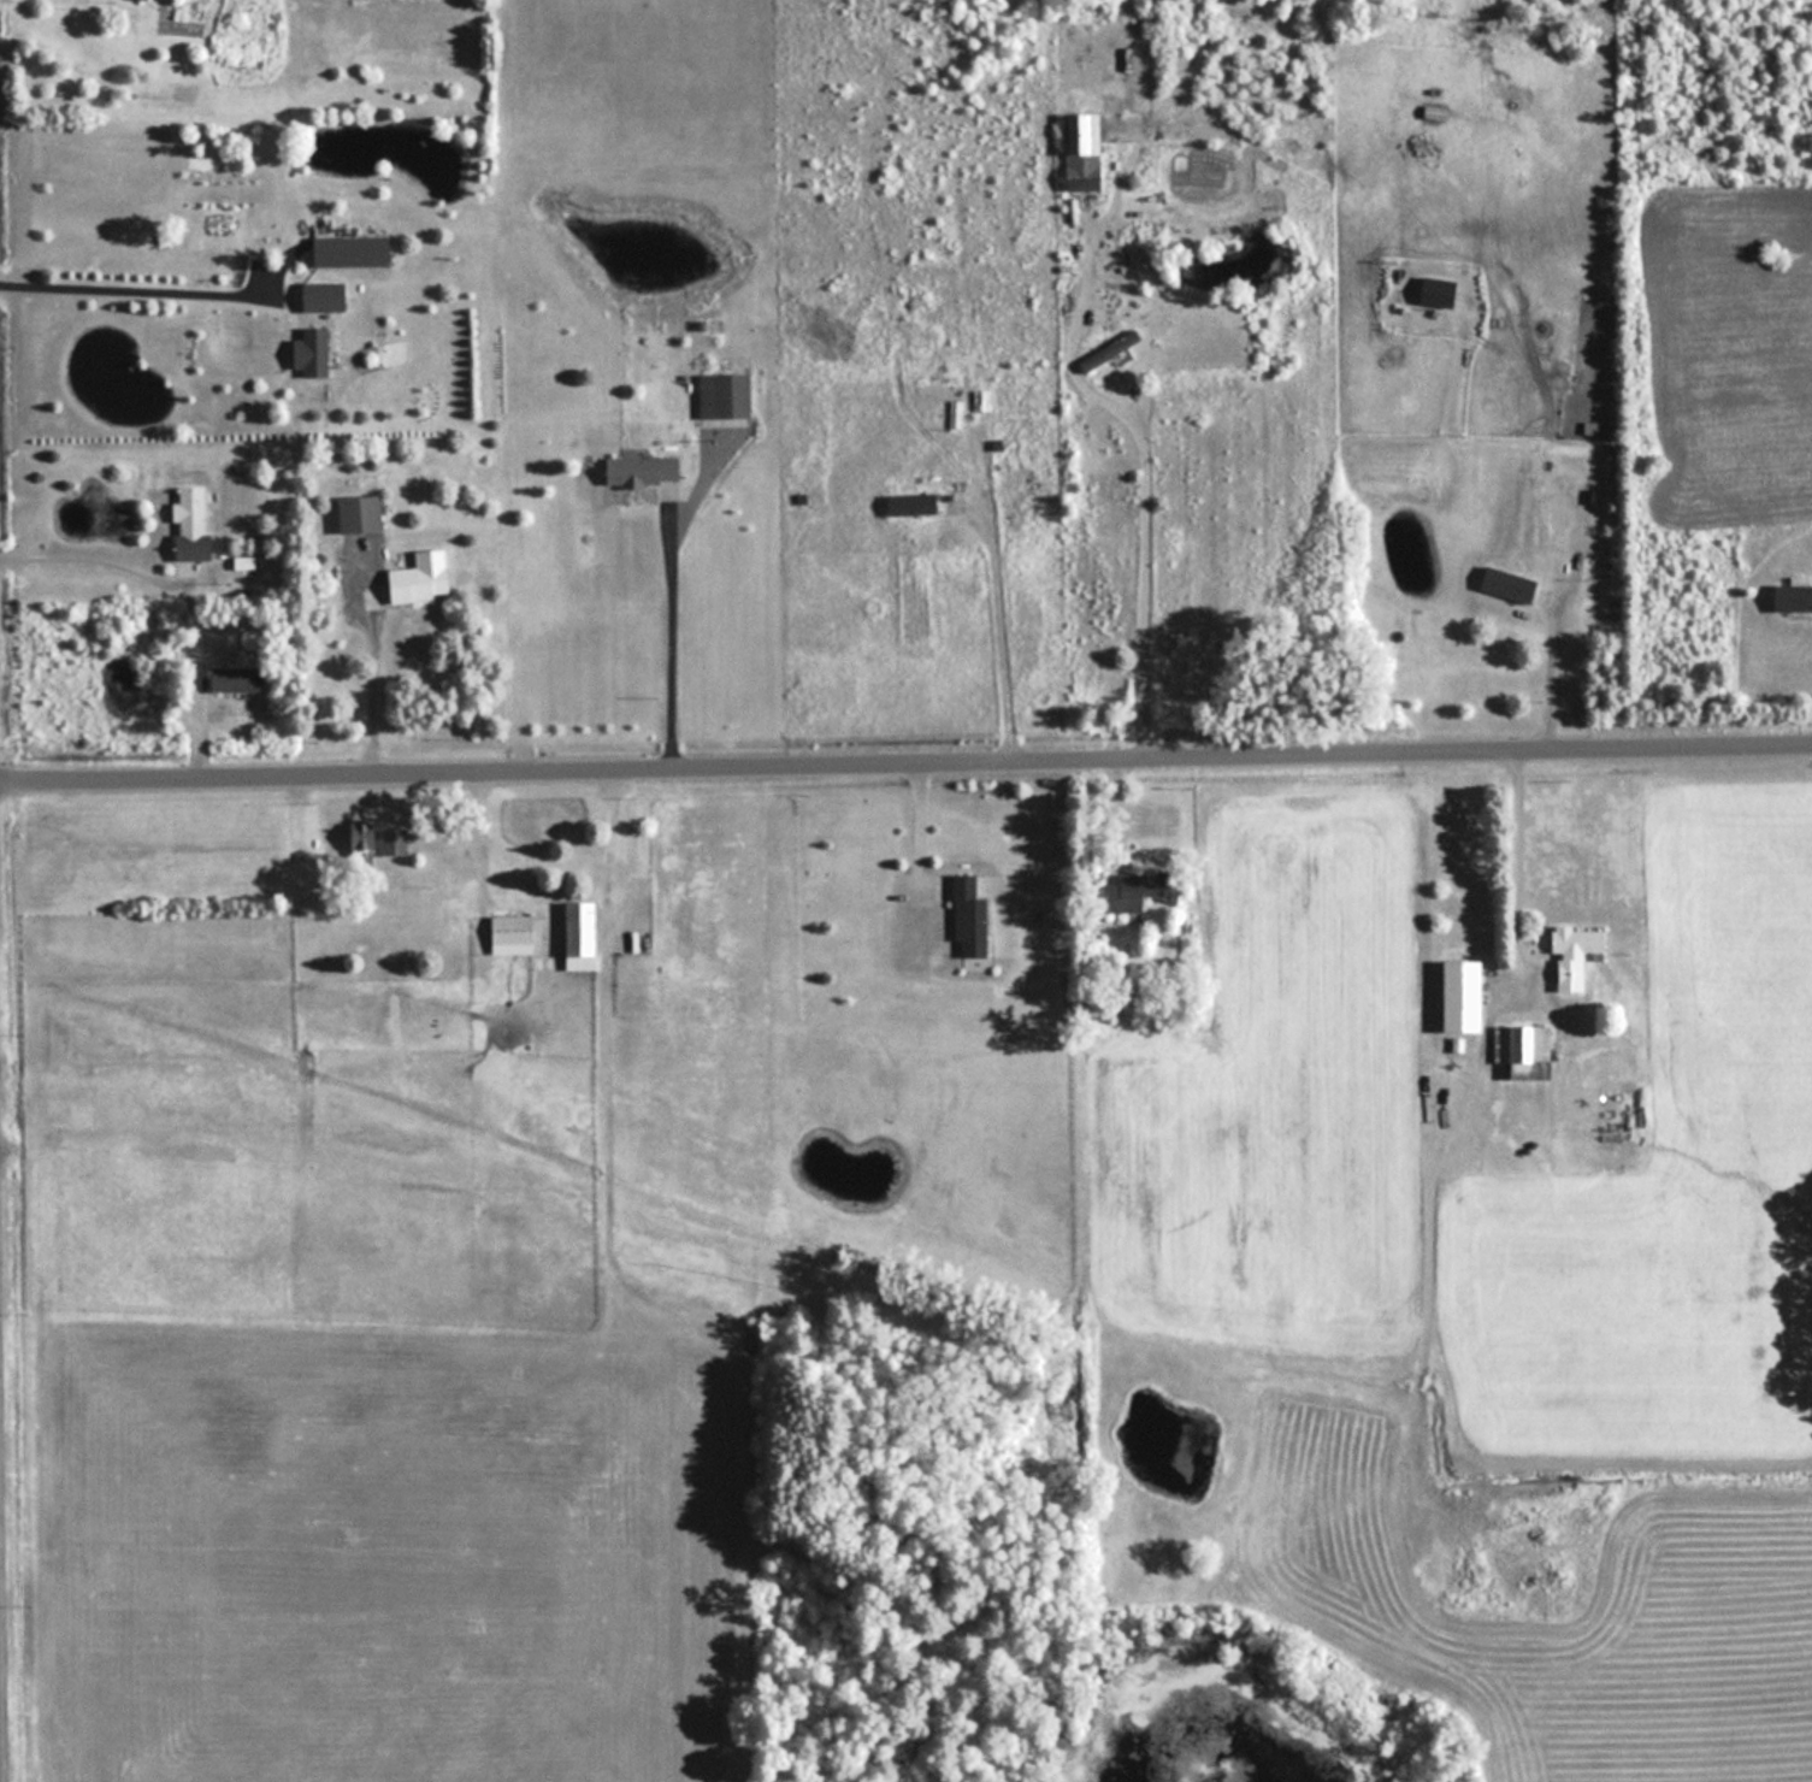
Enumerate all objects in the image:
building: (243, 24)
building: (1433, 112)
building: (1085, 149)
road: (135, 284)
building: (1440, 291)
building: (326, 296)
building: (315, 353)
building: (727, 396)
building: (647, 471)
road: (1145, 482)
building: (914, 503)
building: (365, 514)
building: (194, 524)
road: (96, 559)
building: (421, 583)
building: (1511, 583)
building: (1793, 596)
road: (997, 633)
road: (669, 635)
building: (241, 679)
road: (372, 679)
road: (905, 767)
building: (366, 837)
building: (395, 842)
road: (1513, 874)
building: (1135, 891)
building: (972, 917)
building: (515, 936)
building: (585, 936)
building: (1581, 942)
building: (1468, 997)
building: (1527, 1051)

